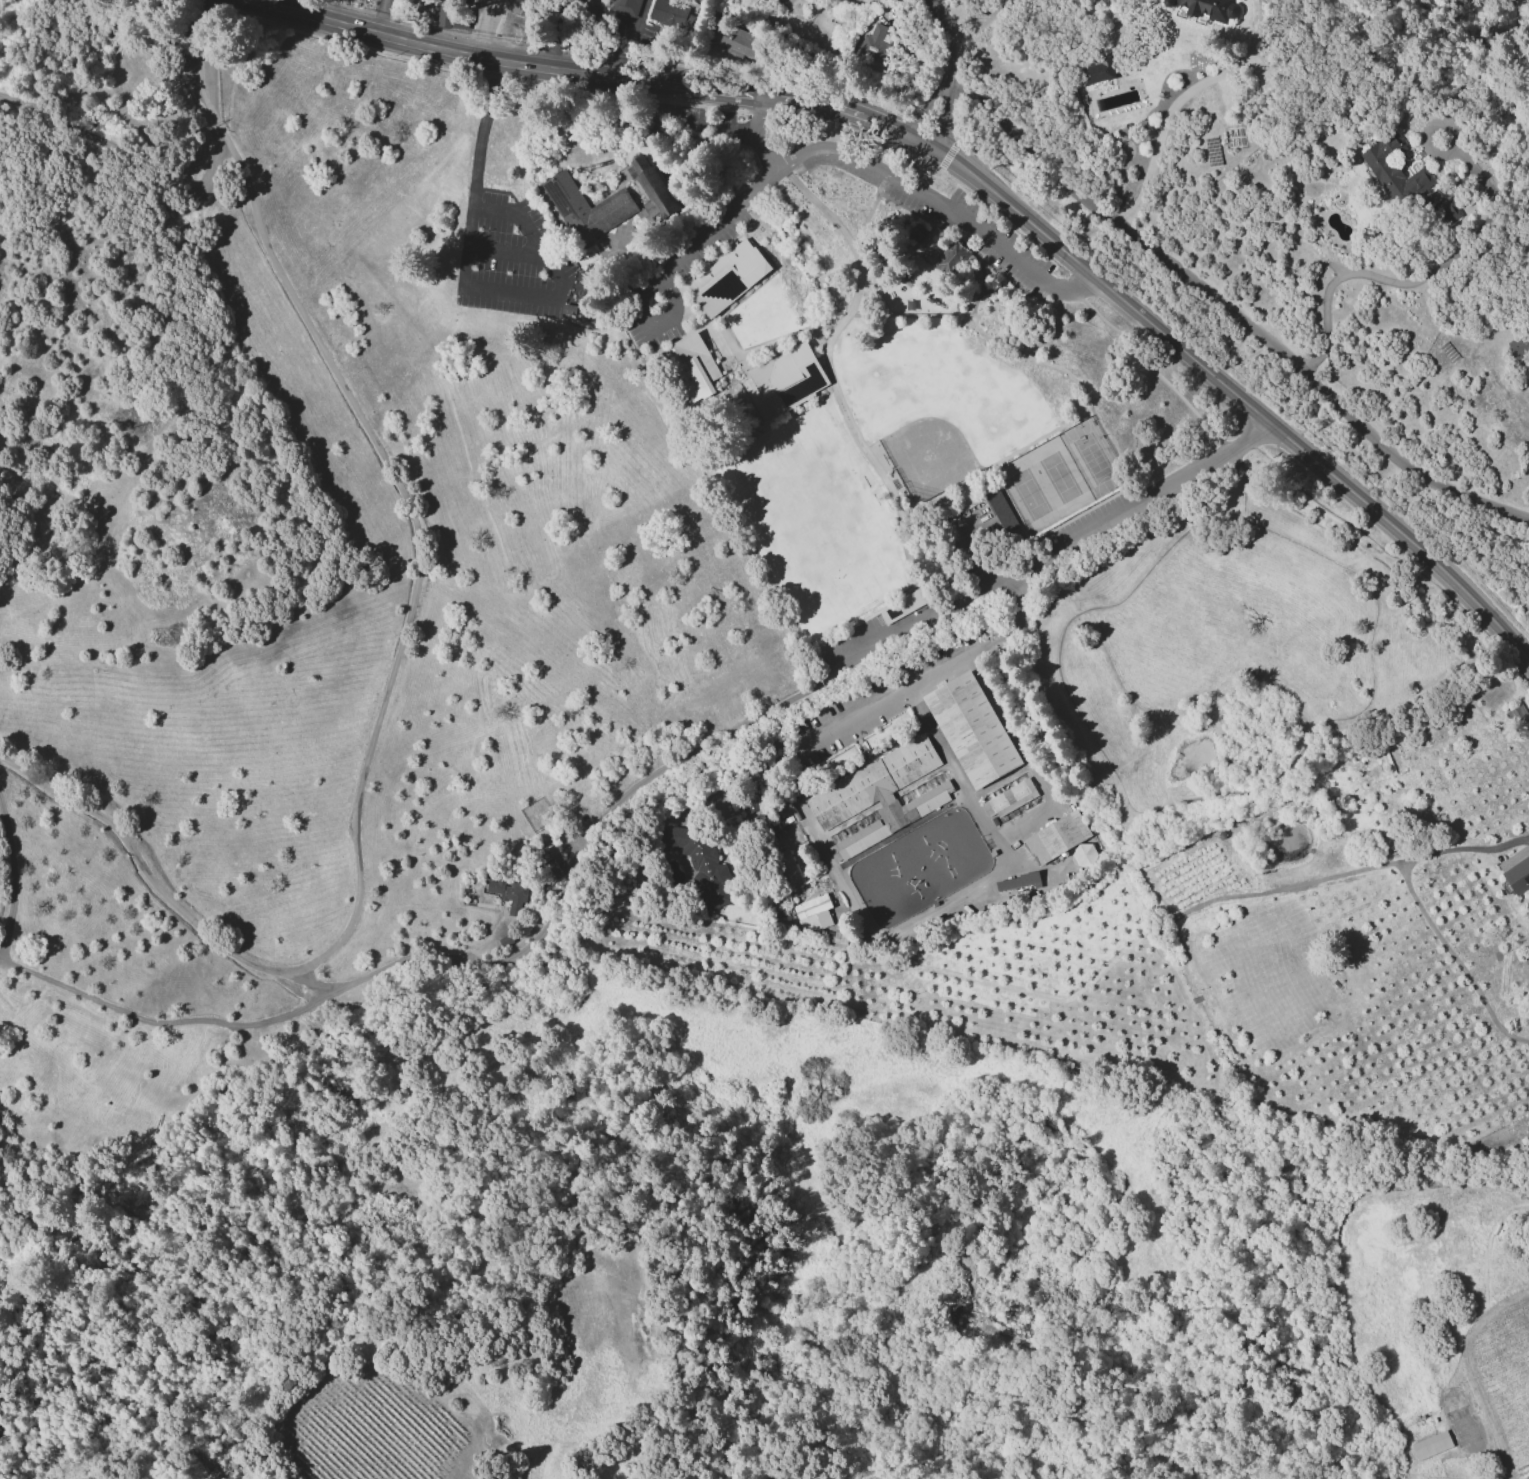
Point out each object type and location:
building: (592, 4)
building: (625, 6)
road: (299, 7)
building: (518, 7)
building: (1204, 8)
building: (672, 15)
road: (383, 18)
road: (979, 22)
road: (628, 36)
road: (945, 37)
building: (740, 42)
building: (873, 45)
building: (1096, 71)
road: (1178, 99)
road: (927, 104)
road: (943, 109)
road: (760, 133)
road: (858, 157)
road: (967, 168)
building: (1394, 170)
building: (651, 188)
building: (587, 207)
building: (1449, 211)
building: (917, 233)
building: (950, 258)
building: (727, 276)
road: (465, 281)
road: (1419, 282)
road: (1236, 314)
building: (1518, 344)
building: (692, 366)
building: (788, 378)
road: (1298, 488)
building: (1001, 510)
road: (1067, 540)
building: (902, 606)
crop: (327, 609)
road: (397, 665)
building: (1516, 714)
building: (971, 729)
building: (878, 795)
building: (1008, 798)
building: (749, 802)
building: (1056, 837)
building: (1082, 855)
building: (699, 862)
building: (547, 865)
road: (833, 865)
building: (786, 870)
building: (1516, 870)
building: (1016, 881)
road: (11, 882)
building: (509, 893)
road: (1420, 909)
building: (812, 913)
crop: (1254, 957)
road: (405, 958)
road: (173, 1022)
crop: (387, 1434)
building: (1431, 1445)

